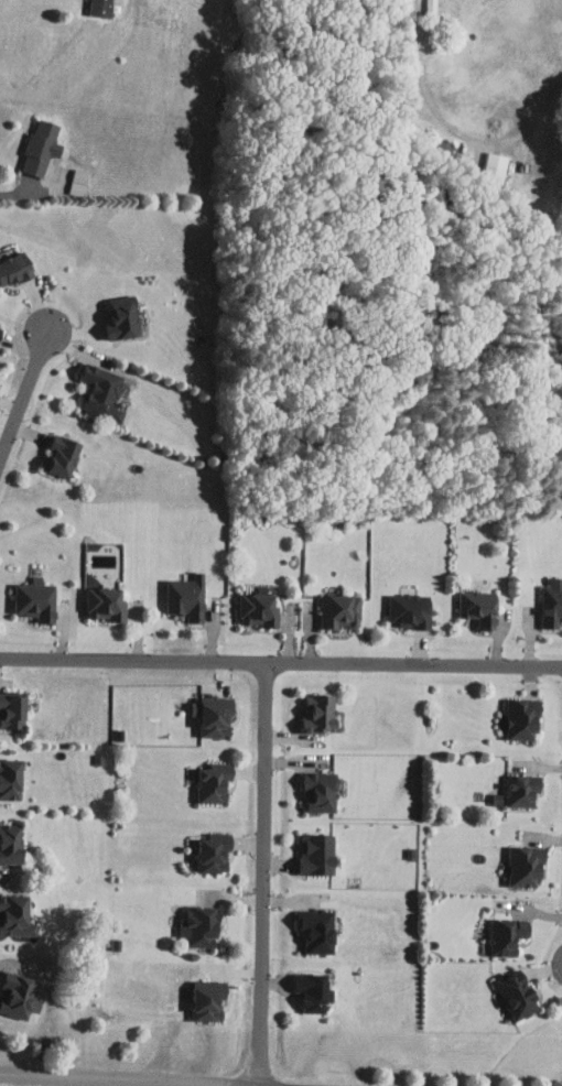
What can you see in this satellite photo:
building: (90, 4)
road: (450, 123)
building: (32, 140)
building: (496, 167)
building: (67, 175)
road: (17, 193)
building: (13, 260)
building: (112, 311)
building: (94, 385)
road: (25, 397)
building: (56, 448)
building: (28, 595)
building: (183, 596)
building: (96, 597)
building: (552, 604)
building: (259, 607)
building: (479, 608)
building: (410, 610)
building: (341, 611)
road: (280, 662)
building: (9, 704)
building: (320, 715)
building: (213, 716)
building: (522, 720)
building: (7, 773)
building: (213, 784)
building: (321, 792)
building: (520, 793)
building: (498, 800)
building: (8, 839)
building: (214, 854)
building: (316, 855)
building: (526, 868)
road: (263, 873)
building: (12, 910)
building: (199, 928)
building: (318, 931)
building: (507, 936)
building: (14, 989)
building: (314, 992)
building: (517, 995)
building: (207, 1001)
road: (120, 1078)

